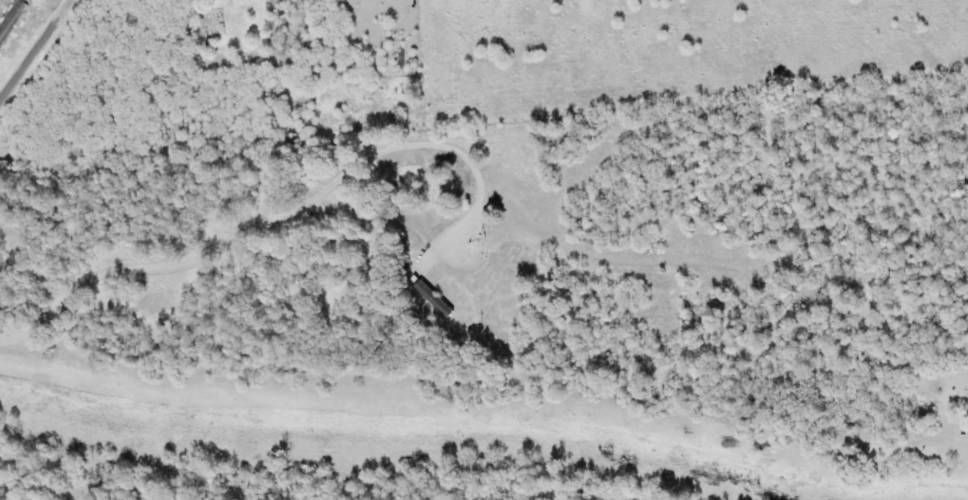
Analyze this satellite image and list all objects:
building: (229, 1)
railway: (9, 13)
road: (37, 51)
building: (434, 300)

